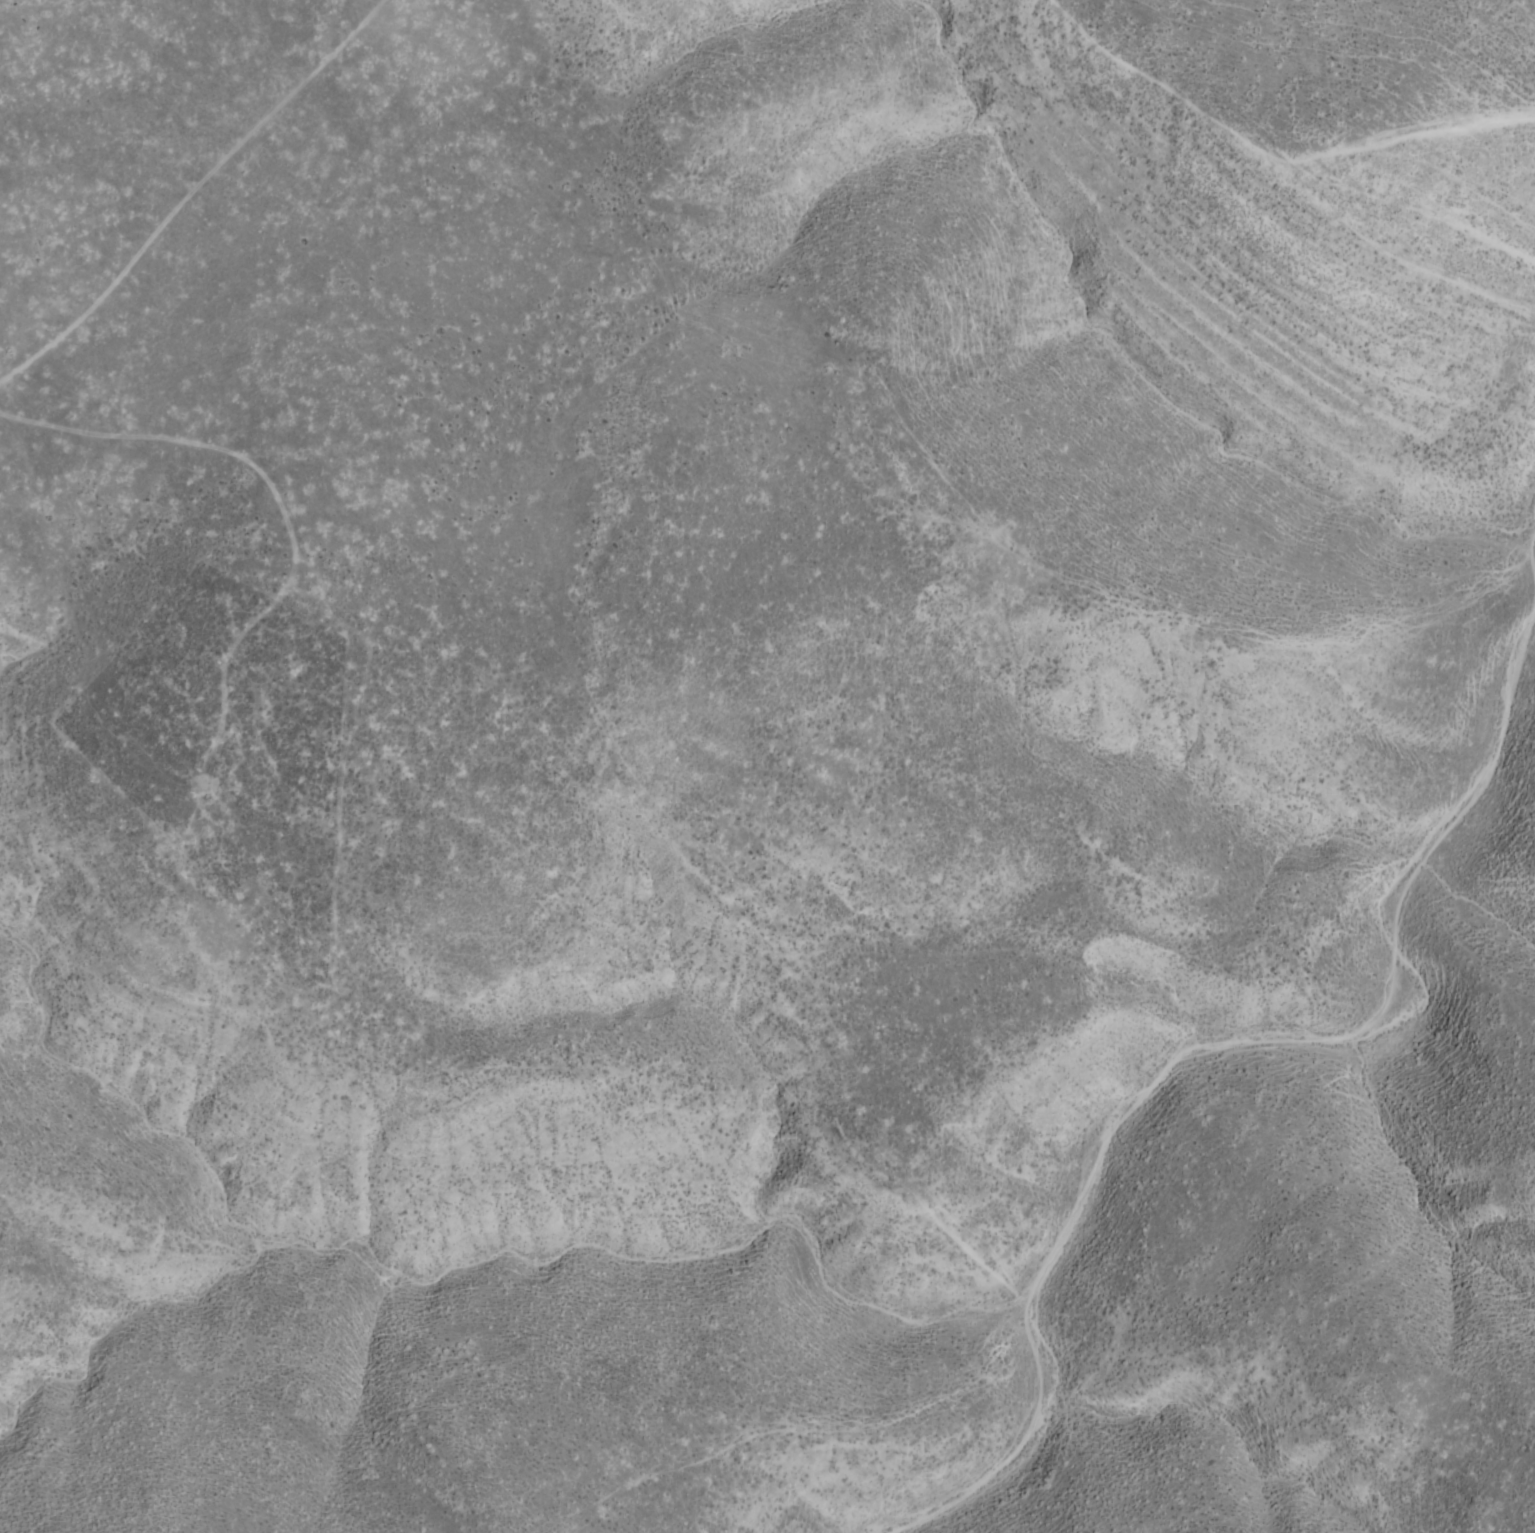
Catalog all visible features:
road: (197, 193)

